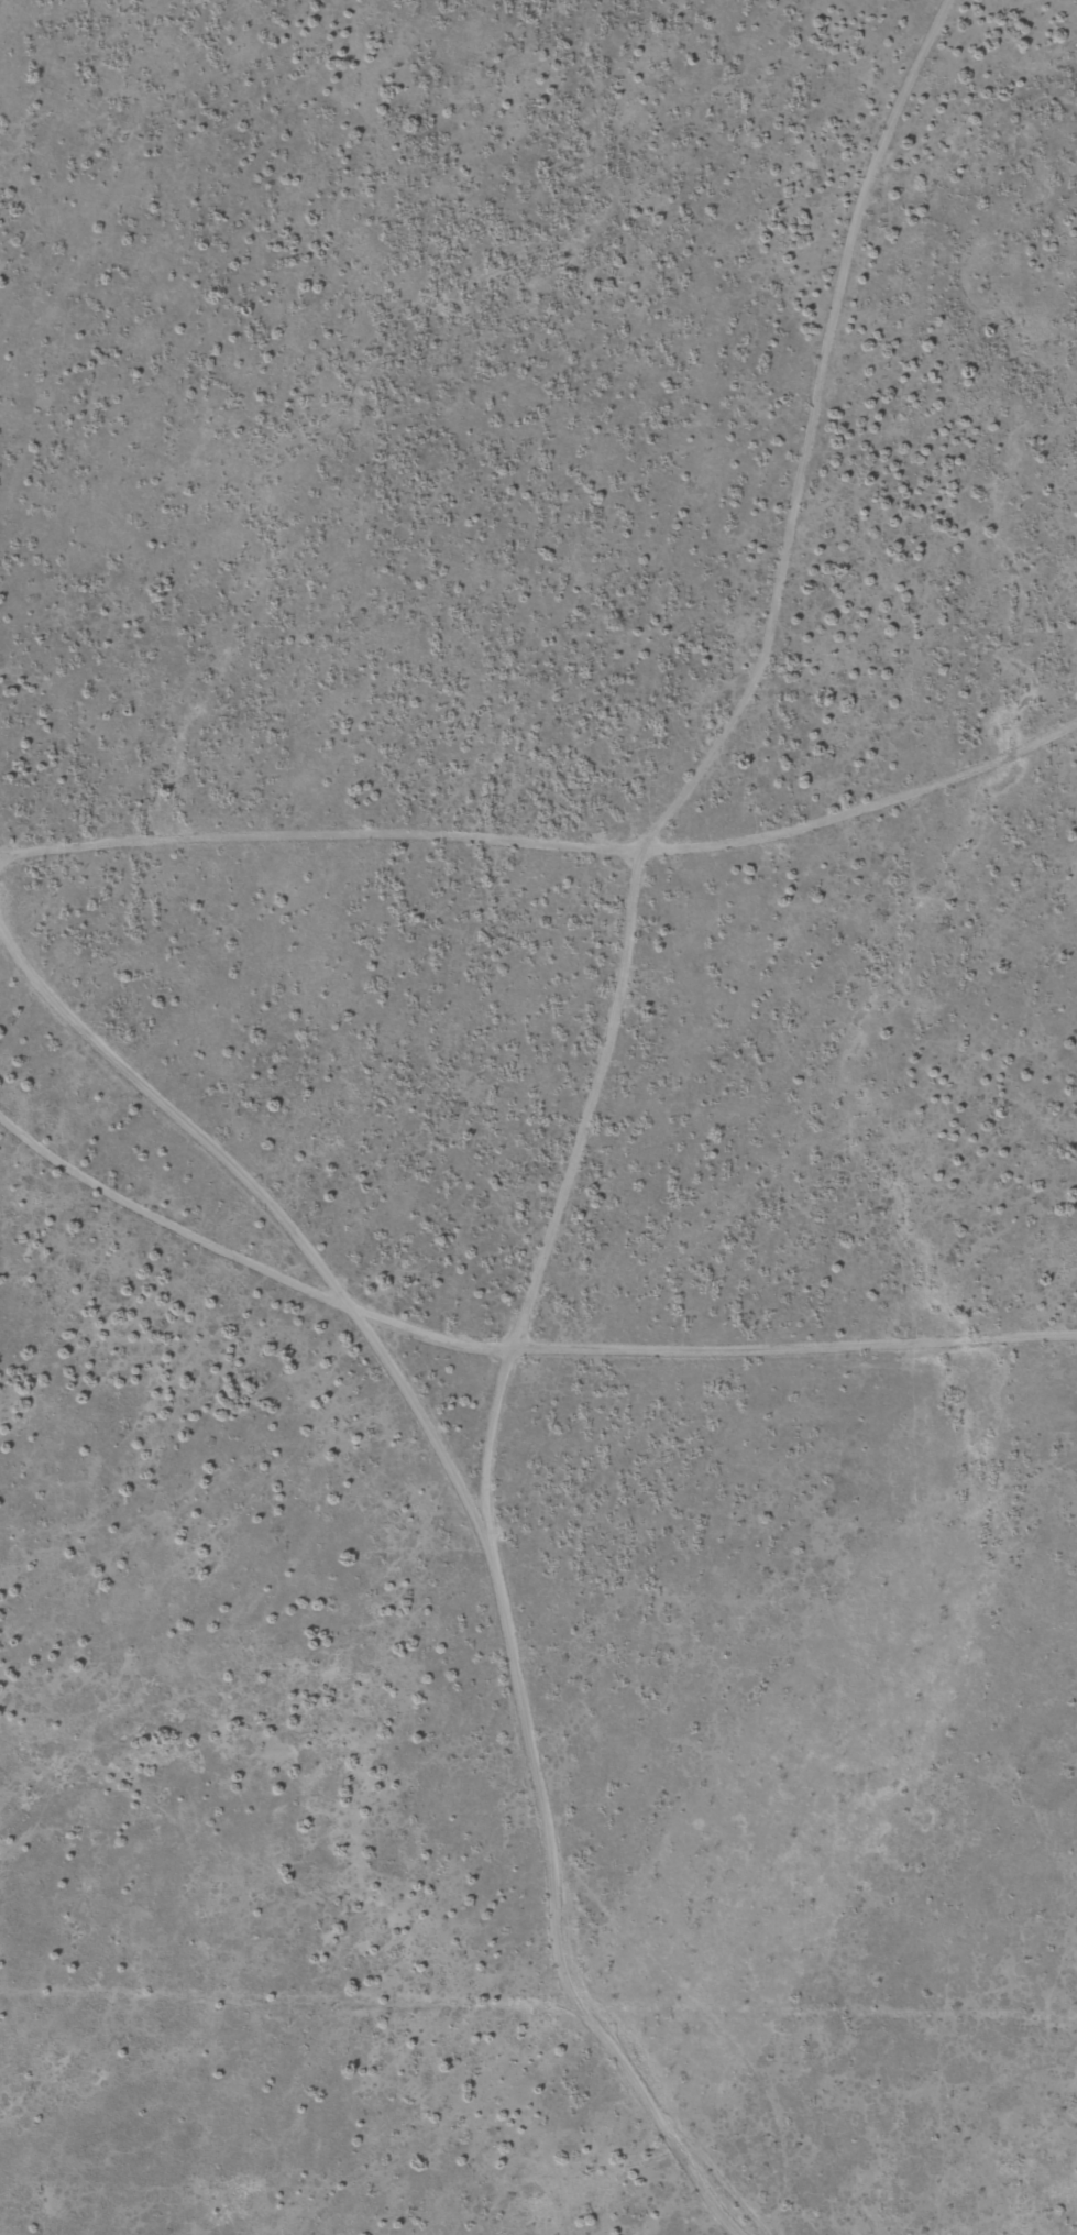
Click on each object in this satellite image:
road: (548, 903)
road: (163, 1092)
road: (581, 1125)
road: (295, 1323)
road: (695, 1383)

